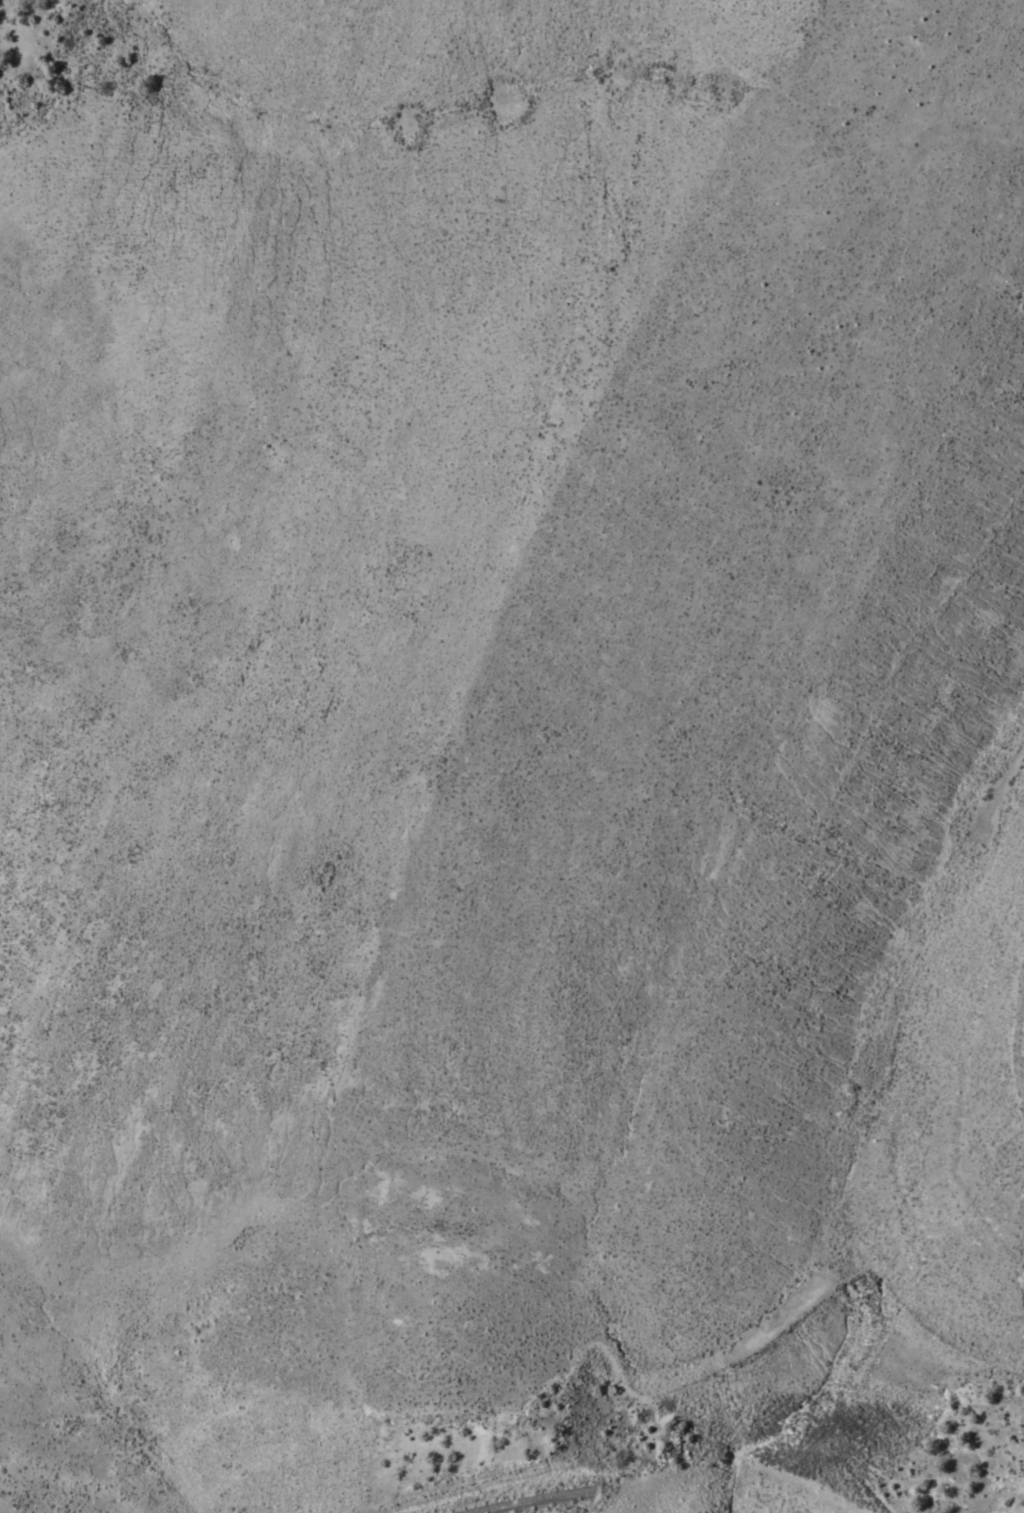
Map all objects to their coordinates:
railway: (638, 1490)

